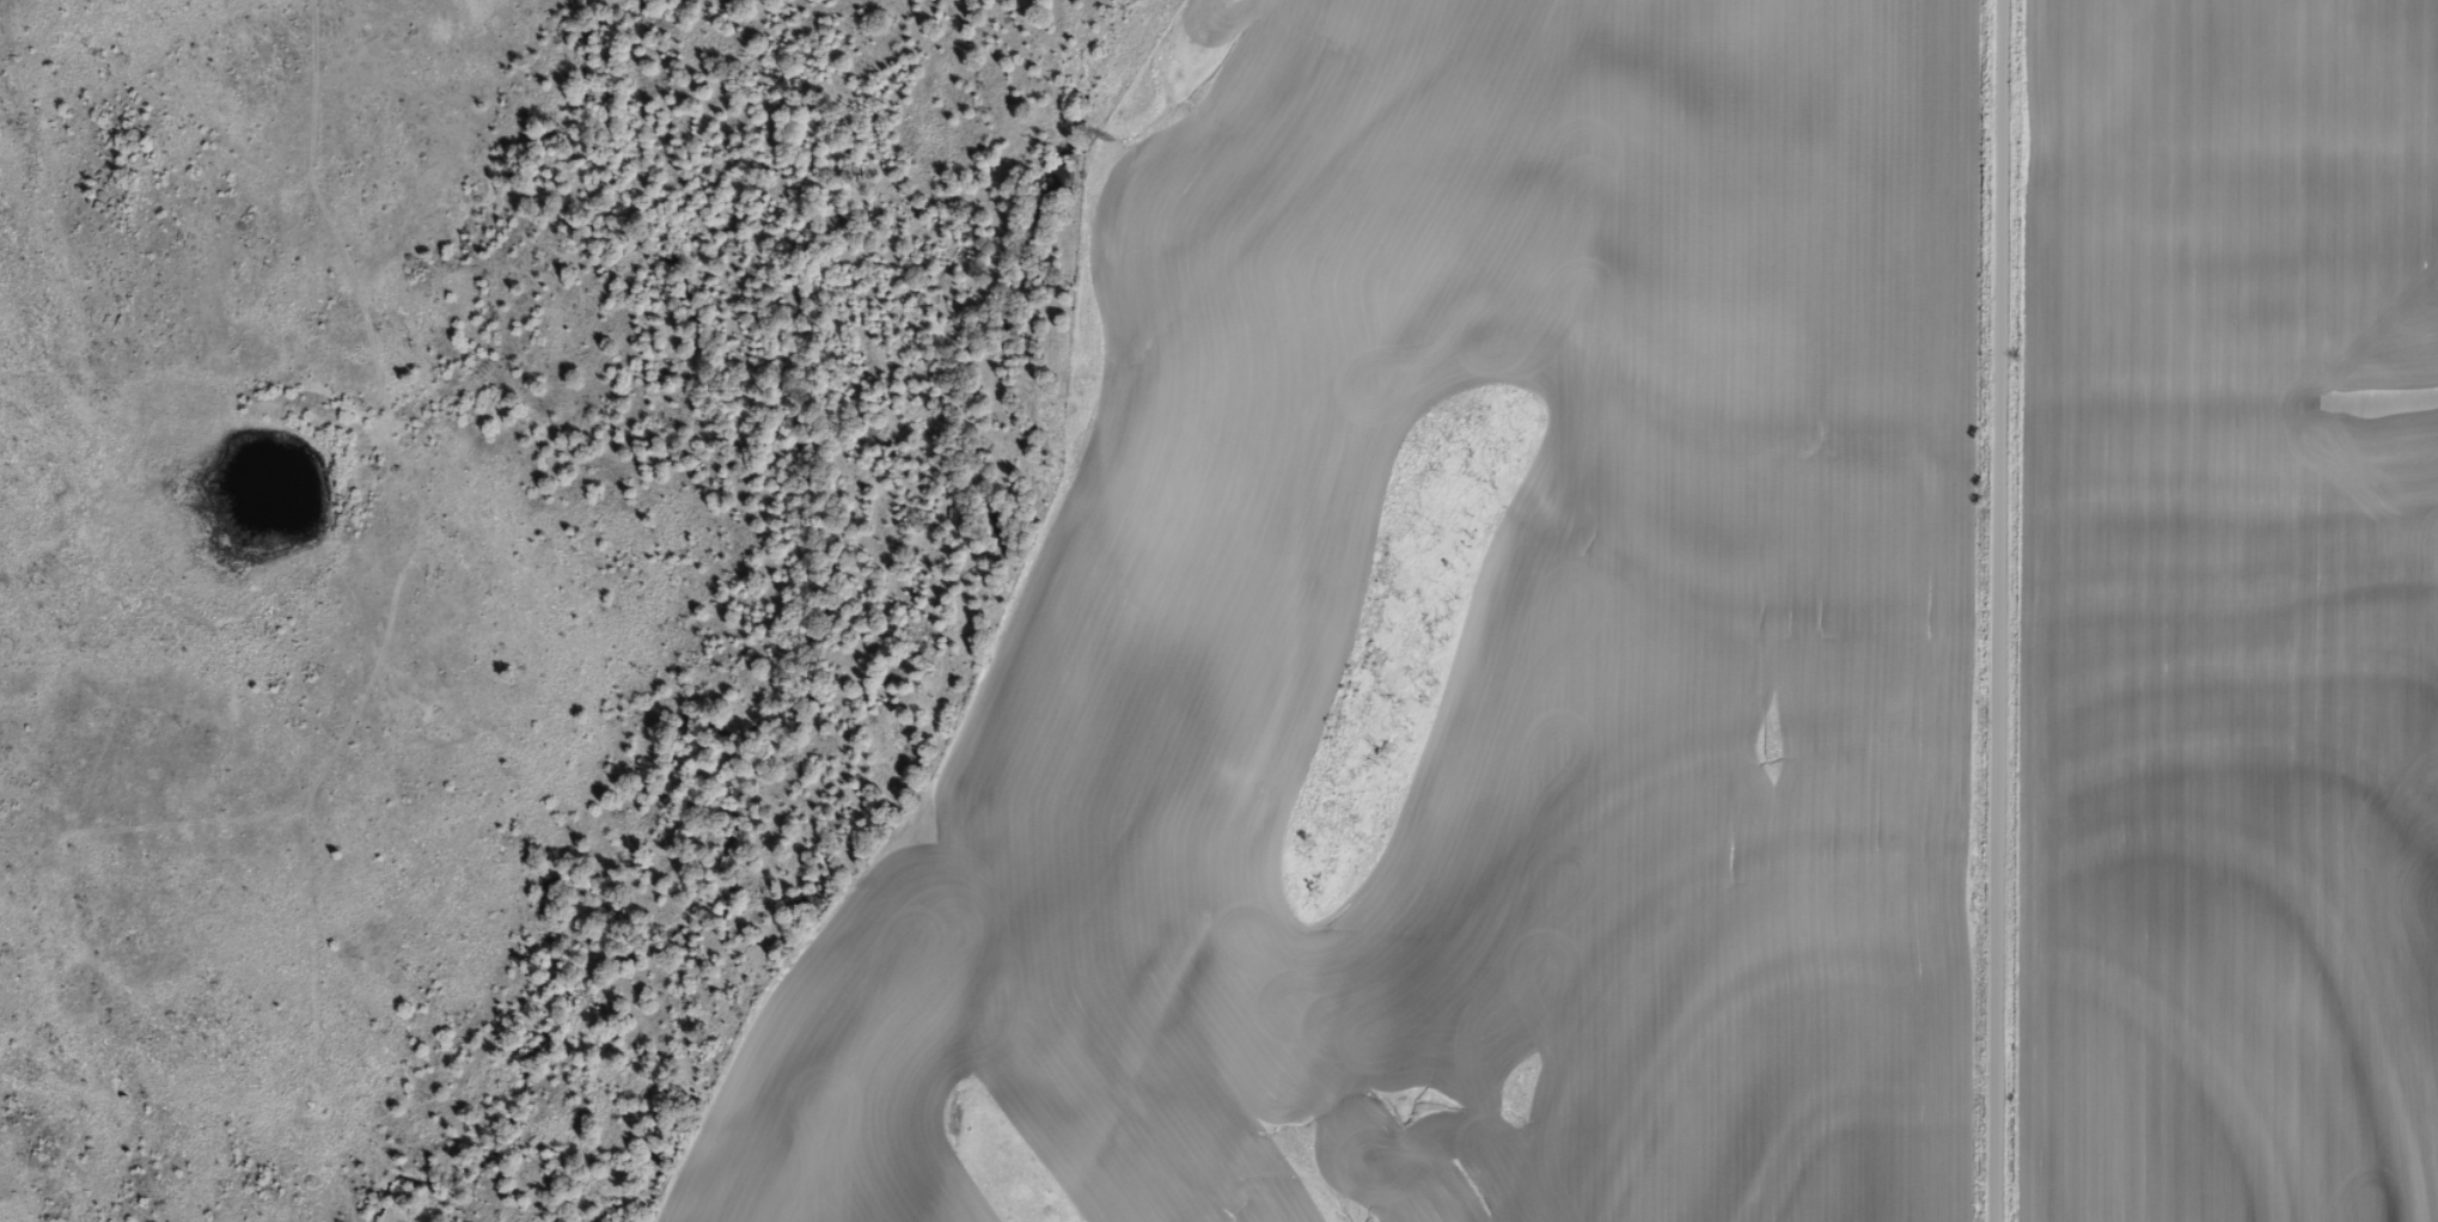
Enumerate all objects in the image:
road: (2003, 611)

